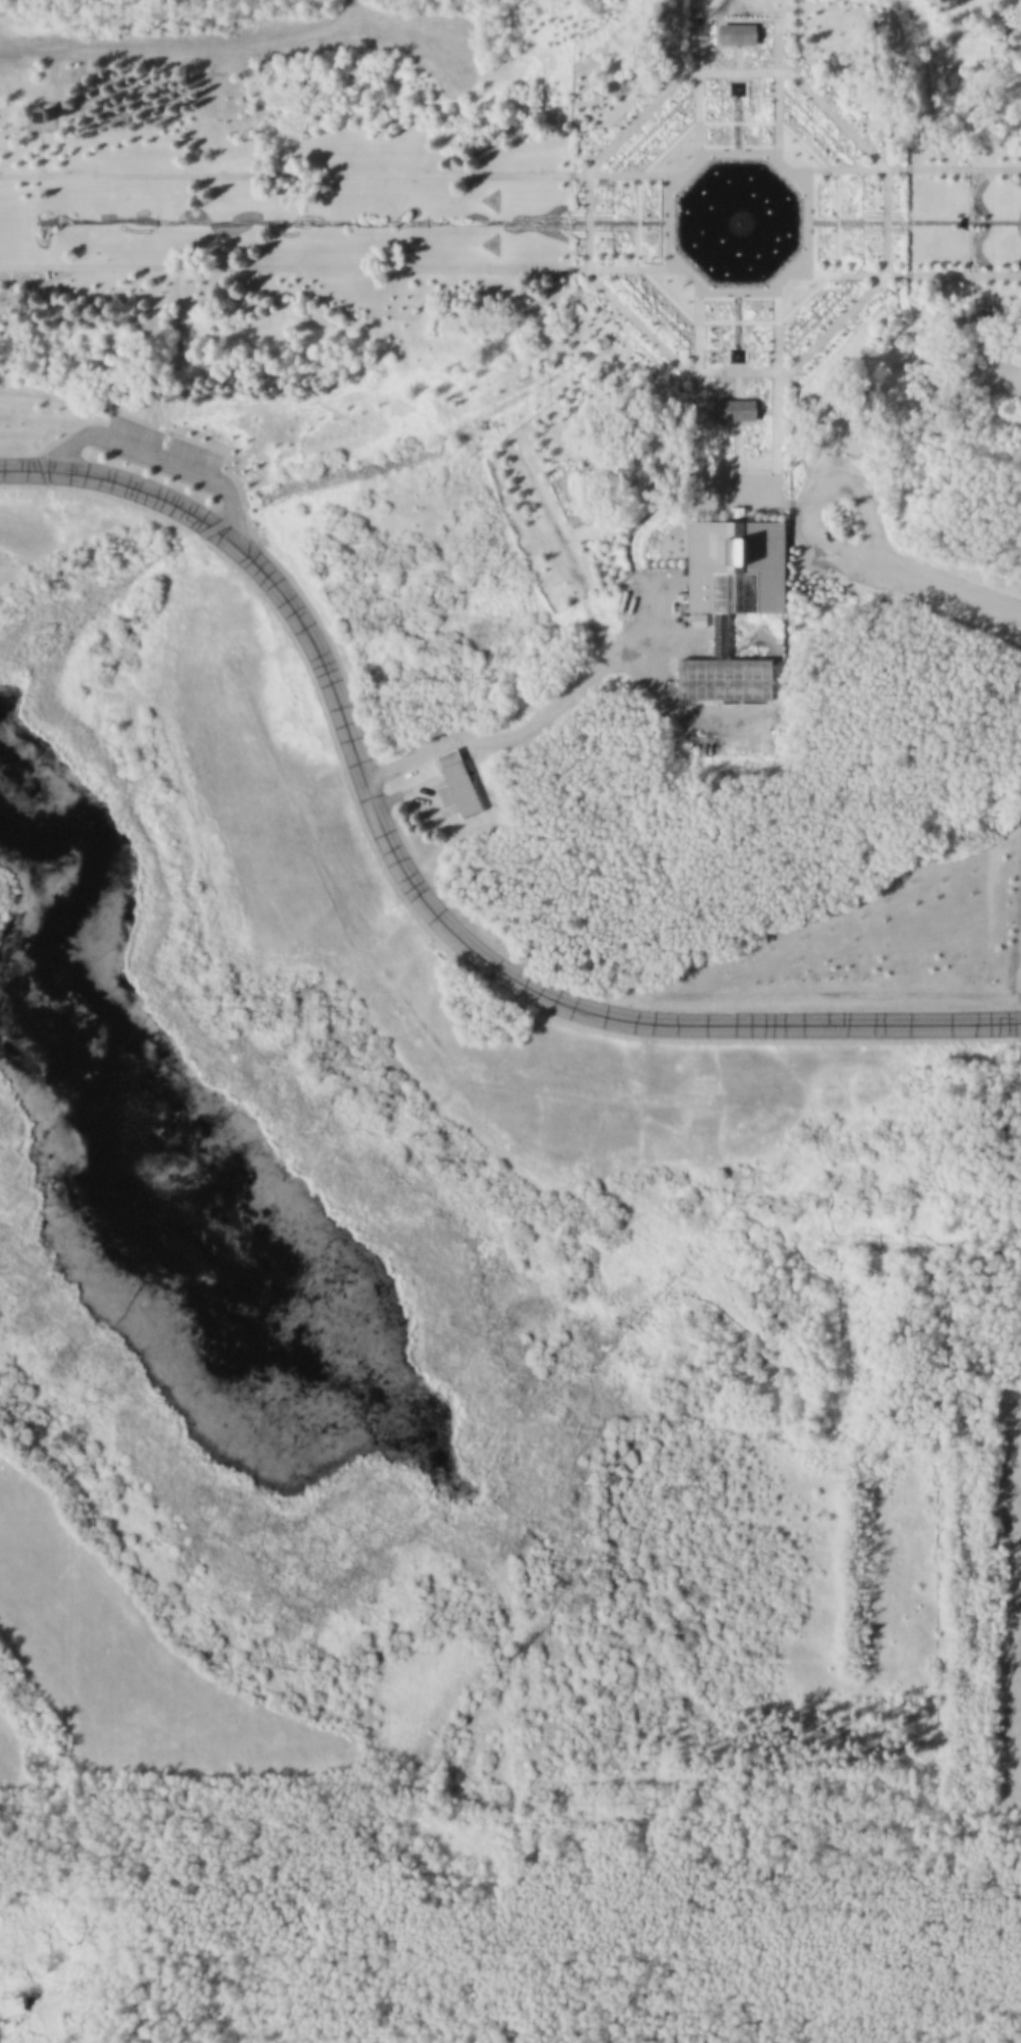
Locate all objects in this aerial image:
building: (731, 19)
building: (736, 31)
road: (735, 44)
road: (735, 58)
road: (697, 98)
road: (775, 99)
building: (42, 116)
road: (42, 153)
road: (518, 174)
road: (669, 220)
road: (805, 222)
fountain: (737, 225)
road: (518, 268)
road: (886, 269)
road: (37, 284)
road: (177, 362)
building: (739, 409)
road: (736, 410)
road: (736, 420)
road: (158, 456)
road: (734, 469)
road: (820, 490)
road: (776, 502)
road: (82, 537)
building: (739, 568)
road: (948, 587)
building: (725, 685)
road: (532, 730)
building: (461, 789)
road: (415, 887)
park: (510, 1021)

